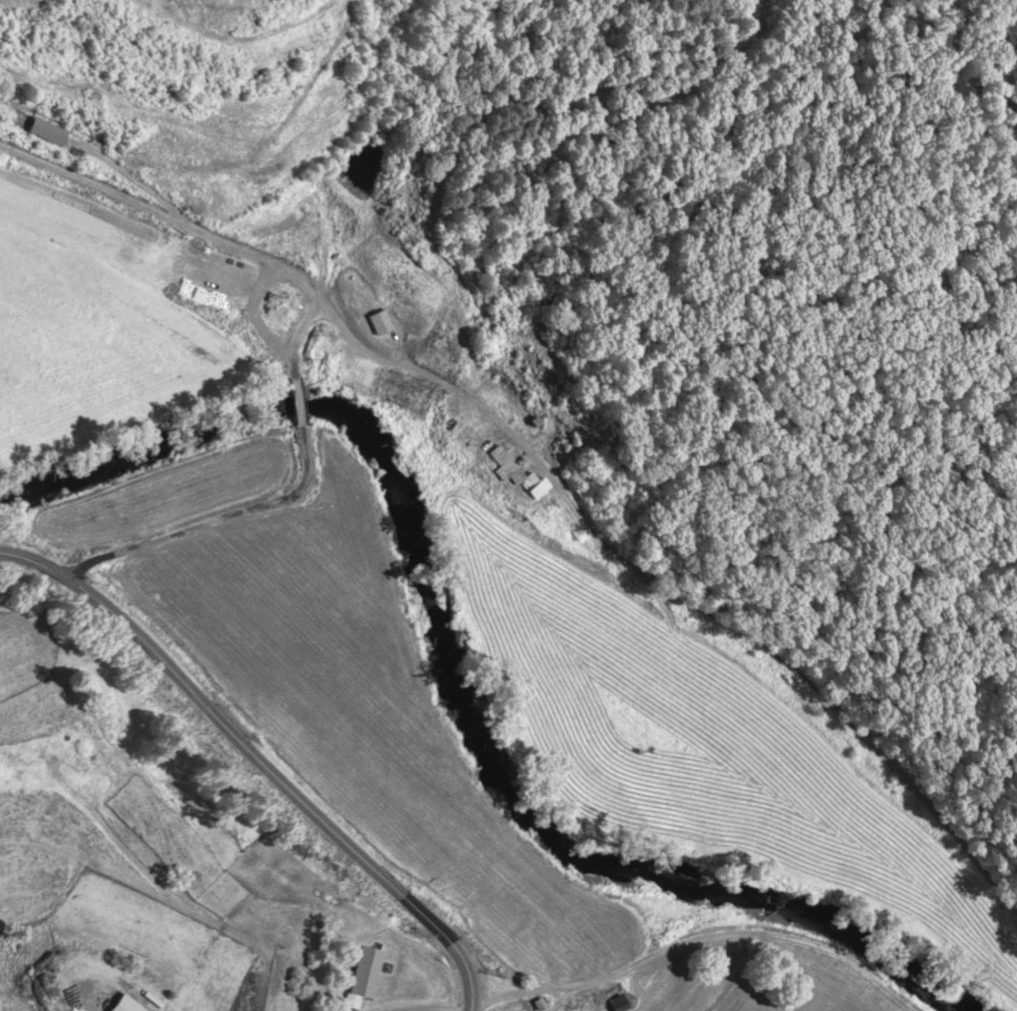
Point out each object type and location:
road: (170, 213)
building: (296, 239)
building: (132, 242)
building: (377, 320)
road: (448, 380)
road: (292, 394)
building: (457, 445)
building: (512, 472)
road: (212, 516)
river: (459, 666)
road: (261, 757)
building: (363, 971)
building: (614, 1003)
building: (120, 1004)

